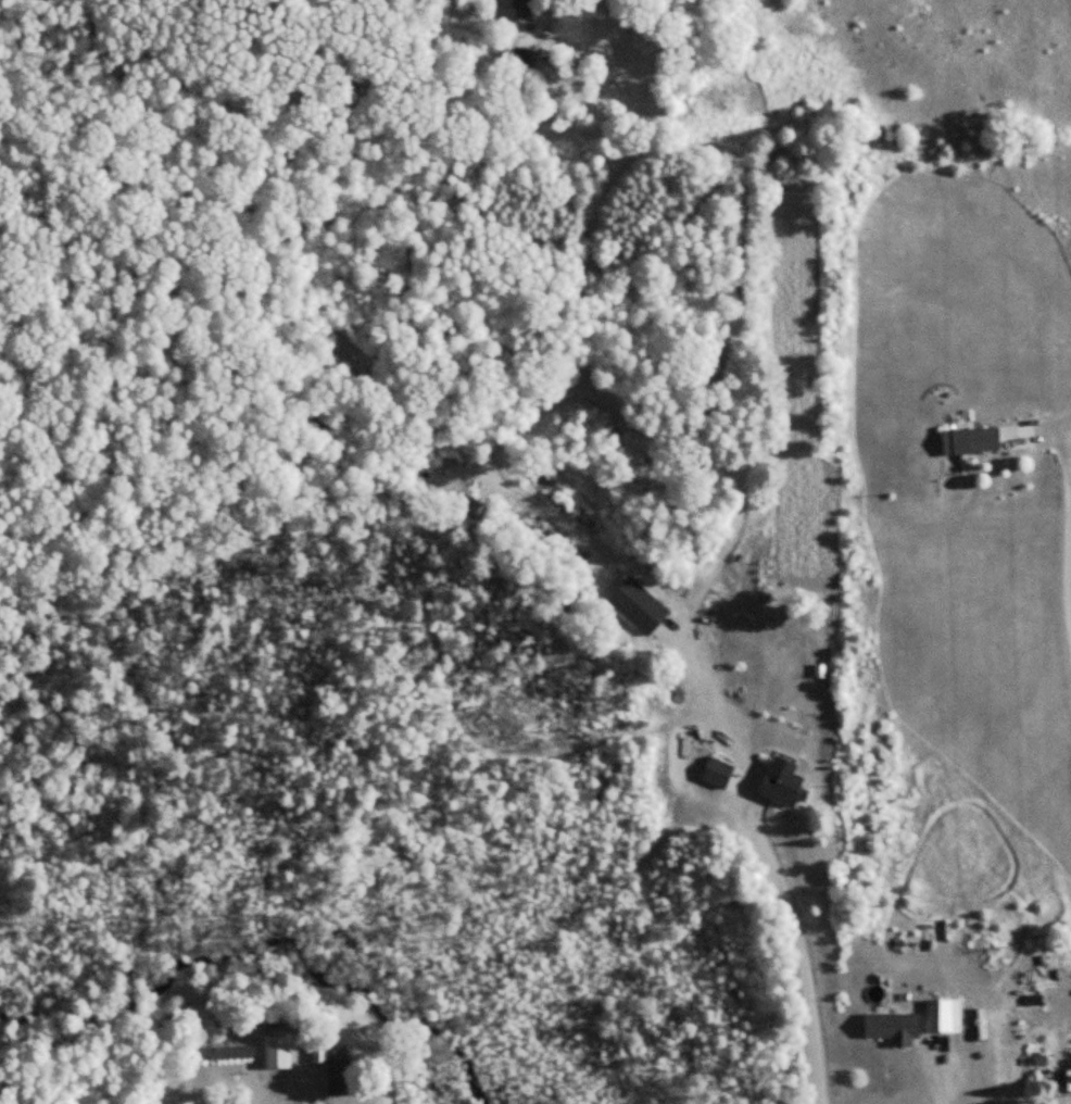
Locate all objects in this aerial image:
building: (527, 8)
building: (522, 59)
building: (360, 92)
building: (970, 441)
building: (472, 509)
road: (1066, 577)
building: (638, 606)
building: (716, 773)
building: (782, 782)
road: (794, 938)
building: (942, 1015)
building: (893, 1027)
building: (215, 1052)
building: (335, 1069)

